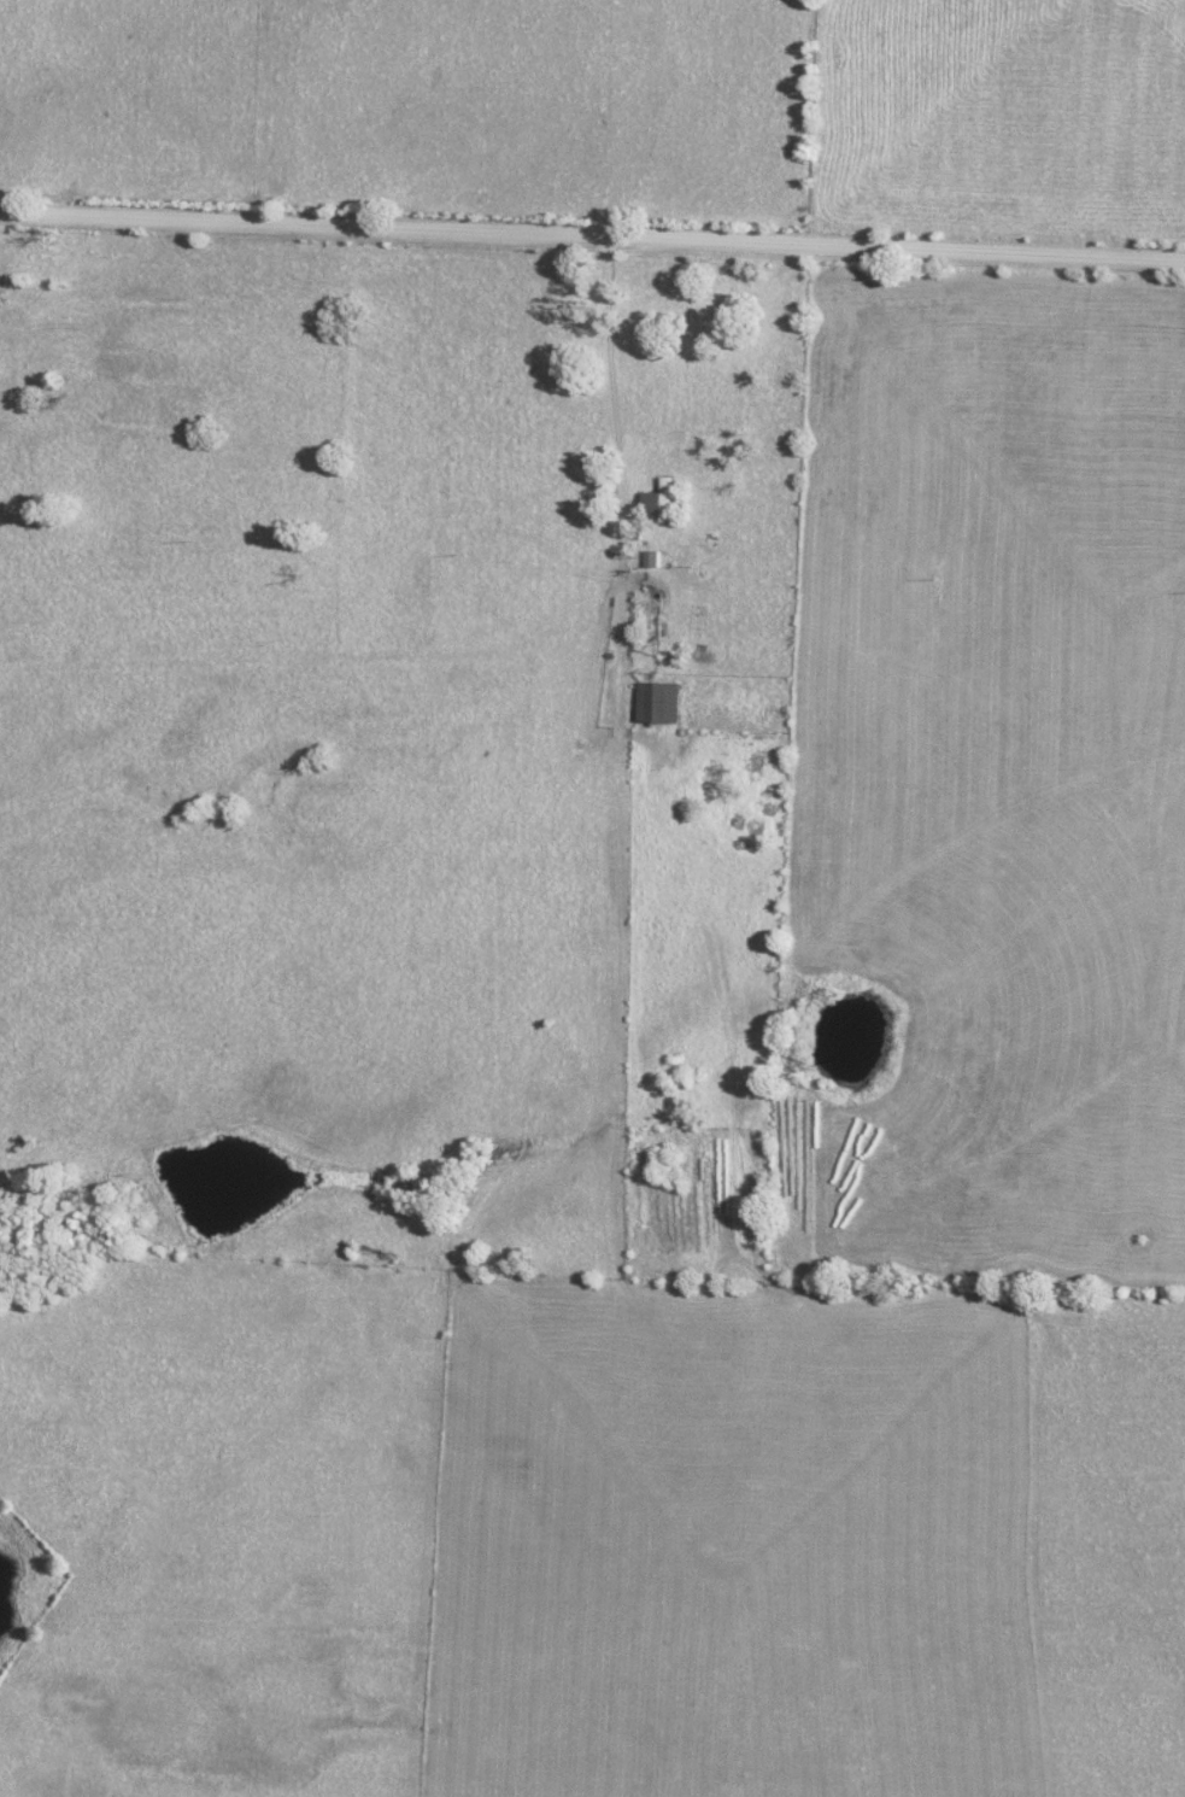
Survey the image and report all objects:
road: (592, 233)
road: (618, 475)
building: (664, 502)
building: (663, 701)

